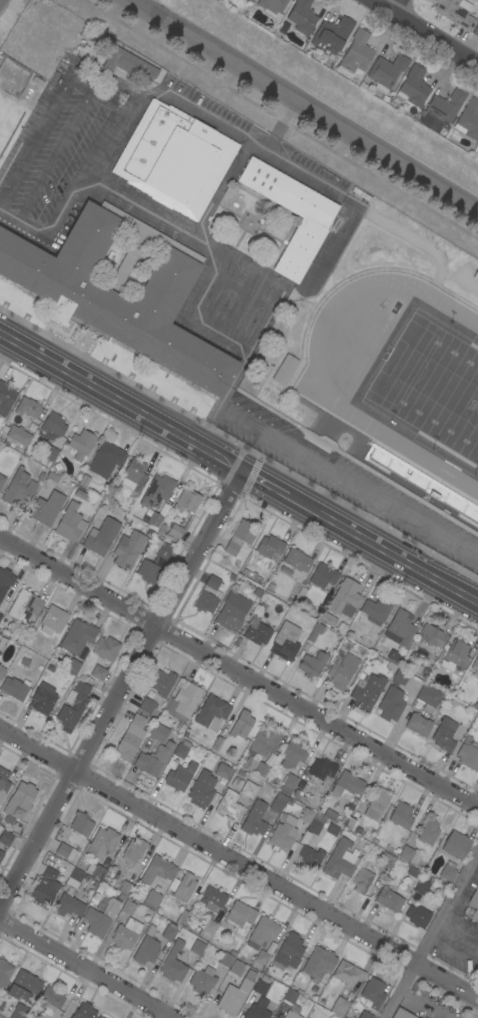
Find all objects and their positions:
building: (250, 1)
road: (1, 2)
road: (394, 5)
building: (272, 8)
building: (455, 12)
building: (302, 16)
building: (475, 31)
road: (425, 32)
building: (332, 35)
building: (357, 52)
building: (128, 64)
building: (386, 73)
building: (413, 87)
road: (106, 96)
park: (7, 102)
road: (308, 104)
building: (445, 106)
building: (469, 120)
park: (7, 121)
road: (40, 130)
road: (248, 138)
parking lot: (61, 149)
road: (55, 154)
building: (174, 159)
building: (313, 224)
road: (203, 246)
building: (82, 298)
building: (284, 369)
track: (313, 386)
park: (431, 386)
building: (6, 398)
building: (28, 408)
building: (53, 425)
building: (19, 435)
building: (81, 444)
building: (50, 453)
building: (105, 460)
road: (238, 469)
building: (133, 474)
building: (1, 480)
parking lot: (346, 481)
road: (348, 482)
building: (421, 483)
building: (19, 488)
building: (157, 491)
building: (80, 495)
building: (187, 501)
building: (46, 508)
building: (153, 519)
building: (70, 523)
building: (175, 531)
building: (101, 536)
building: (239, 537)
building: (269, 546)
building: (128, 550)
building: (163, 552)
building: (297, 560)
building: (148, 572)
building: (323, 576)
building: (5, 581)
building: (208, 595)
building: (345, 599)
building: (24, 606)
building: (376, 611)
building: (232, 612)
building: (0, 613)
building: (0, 616)
building: (329, 619)
building: (53, 620)
building: (401, 627)
building: (256, 632)
building: (315, 632)
building: (78, 636)
building: (431, 636)
building: (361, 640)
building: (27, 642)
building: (285, 642)
building: (2, 643)
building: (106, 649)
building: (0, 654)
building: (455, 656)
building: (312, 664)
building: (475, 664)
building: (72, 666)
building: (2, 671)
building: (342, 672)
building: (98, 673)
road: (239, 673)
building: (400, 677)
building: (161, 682)
building: (14, 689)
road: (122, 690)
building: (366, 691)
building: (428, 697)
building: (44, 698)
building: (183, 700)
building: (391, 704)
building: (146, 705)
building: (73, 706)
building: (211, 711)
building: (419, 724)
building: (241, 725)
building: (158, 732)
building: (443, 736)
building: (130, 738)
building: (217, 744)
building: (182, 750)
building: (261, 750)
building: (468, 754)
building: (291, 755)
building: (153, 759)
building: (322, 770)
building: (223, 771)
building: (180, 776)
building: (3, 783)
building: (236, 784)
building: (288, 784)
building: (346, 786)
building: (201, 790)
building: (249, 790)
building: (19, 802)
building: (278, 803)
building: (229, 805)
building: (377, 805)
building: (330, 814)
building: (306, 815)
building: (401, 815)
building: (254, 819)
building: (81, 824)
building: (315, 824)
building: (332, 830)
building: (428, 832)
building: (283, 833)
building: (7, 837)
building: (102, 843)
building: (456, 845)
building: (133, 850)
building: (66, 851)
building: (1, 854)
building: (409, 855)
building: (310, 857)
building: (339, 860)
building: (385, 860)
road: (238, 864)
building: (158, 870)
building: (96, 871)
building: (448, 872)
building: (75, 877)
building: (361, 881)
building: (128, 883)
building: (45, 887)
building: (183, 887)
building: (421, 887)
building: (152, 898)
building: (212, 899)
building: (389, 900)
building: (68, 905)
building: (474, 905)
building: (128, 907)
building: (240, 914)
building: (417, 916)
building: (101, 918)
building: (207, 929)
building: (169, 932)
building: (262, 933)
building: (126, 934)
road: (432, 936)
building: (197, 947)
building: (146, 951)
building: (288, 952)
building: (225, 960)
building: (260, 961)
building: (173, 963)
building: (318, 964)
building: (477, 967)
building: (236, 968)
road: (84, 969)
building: (4, 973)
building: (348, 973)
building: (202, 980)
building: (261, 985)
building: (23, 986)
building: (373, 993)
building: (234, 997)
building: (50, 999)
building: (290, 1001)
building: (339, 1007)
building: (258, 1009)
building: (19, 1011)
building: (84, 1011)
building: (402, 1014)
building: (365, 1015)
building: (26, 1017)
building: (100, 1017)

